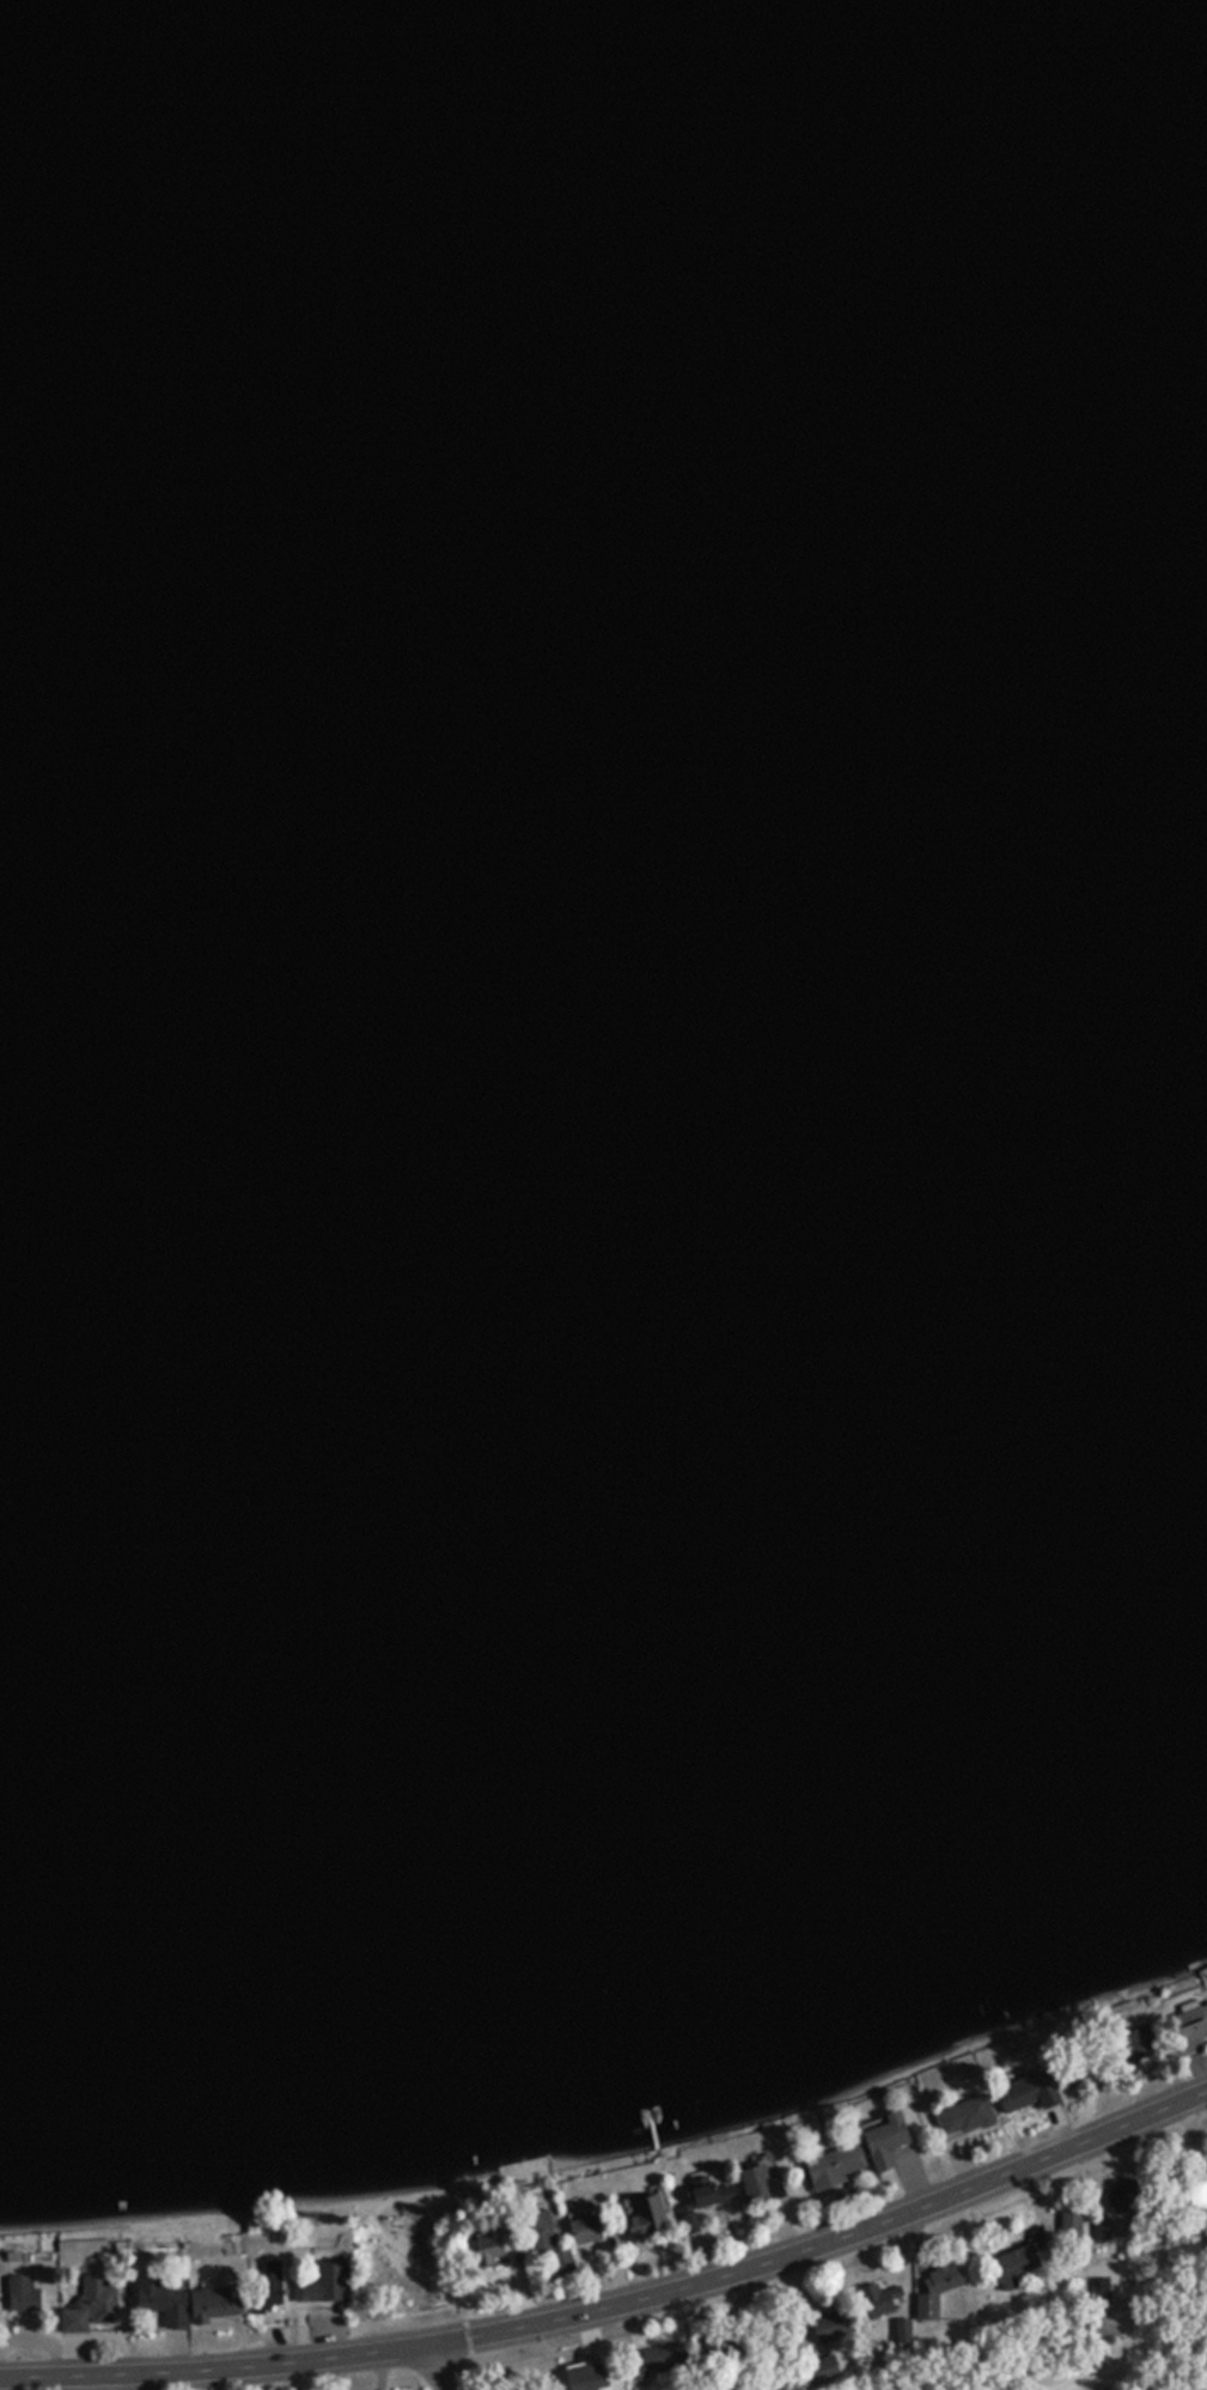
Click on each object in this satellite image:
building: (1191, 2029)
building: (1138, 2045)
building: (1078, 2072)
building: (1025, 2092)
building: (964, 2116)
building: (882, 2140)
building: (830, 2167)
building: (757, 2185)
building: (1197, 2194)
building: (709, 2195)
building: (1122, 2196)
building: (644, 2216)
building: (583, 2227)
building: (542, 2240)
building: (486, 2246)
building: (1011, 2267)
building: (329, 2282)
building: (263, 2286)
building: (933, 2289)
building: (18, 2294)
building: (878, 2300)
building: (158, 2303)
building: (87, 2306)
building: (212, 2306)
road: (620, 2306)
building: (829, 2327)
road: (1128, 2358)
building: (651, 2362)
road: (435, 2367)
building: (581, 2377)

